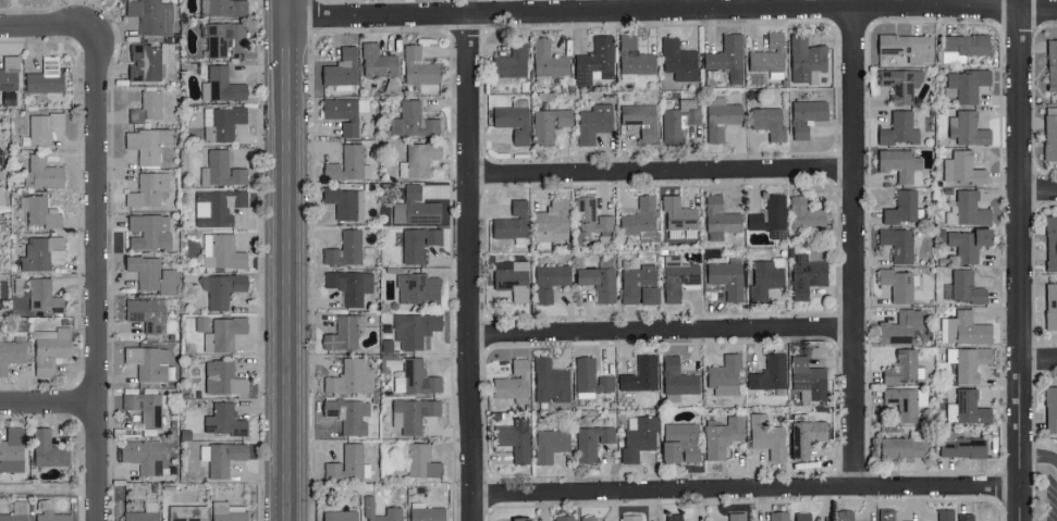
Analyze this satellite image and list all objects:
building: (225, 8)
road: (282, 8)
road: (288, 8)
road: (671, 8)
building: (150, 15)
road: (35, 32)
building: (221, 37)
building: (905, 46)
building: (962, 47)
building: (726, 57)
building: (769, 57)
building: (548, 59)
building: (632, 59)
building: (677, 60)
building: (806, 60)
building: (145, 61)
building: (377, 61)
building: (594, 61)
building: (509, 63)
building: (1050, 64)
building: (418, 66)
building: (341, 67)
building: (8, 72)
building: (44, 76)
building: (541, 79)
building: (899, 84)
building: (964, 84)
building: (220, 85)
building: (146, 106)
building: (344, 112)
building: (680, 116)
building: (804, 116)
building: (720, 117)
building: (413, 120)
building: (513, 120)
building: (641, 120)
building: (222, 121)
building: (593, 122)
building: (767, 122)
building: (549, 123)
building: (898, 128)
building: (966, 128)
building: (37, 129)
building: (1049, 133)
building: (146, 144)
building: (420, 156)
building: (345, 163)
building: (899, 164)
building: (960, 168)
building: (222, 169)
building: (41, 172)
road: (660, 174)
road: (1037, 188)
building: (148, 190)
building: (1, 197)
building: (344, 202)
building: (216, 206)
building: (900, 207)
building: (967, 209)
building: (38, 210)
building: (803, 214)
building: (769, 215)
building: (590, 219)
building: (640, 219)
building: (678, 219)
building: (717, 219)
building: (551, 220)
building: (511, 221)
building: (149, 231)
building: (417, 243)
building: (966, 243)
building: (1050, 243)
building: (896, 244)
road: (852, 247)
building: (347, 249)
building: (40, 251)
building: (222, 251)
road: (1019, 260)
road: (469, 265)
road: (288, 268)
road: (98, 269)
building: (151, 274)
building: (806, 275)
building: (765, 276)
building: (678, 277)
building: (726, 278)
building: (511, 280)
building: (574, 281)
building: (897, 284)
building: (349, 285)
building: (638, 285)
building: (416, 287)
building: (966, 287)
building: (221, 288)
building: (42, 296)
building: (1049, 305)
building: (145, 313)
building: (200, 323)
building: (898, 327)
building: (414, 328)
building: (962, 328)
building: (343, 332)
building: (222, 334)
road: (661, 334)
building: (49, 349)
building: (11, 351)
road: (1037, 357)
building: (967, 361)
building: (149, 362)
building: (904, 367)
building: (769, 373)
building: (640, 374)
building: (723, 375)
building: (351, 376)
building: (221, 377)
building: (415, 377)
building: (590, 379)
building: (807, 379)
building: (549, 382)
building: (513, 383)
building: (905, 402)
road: (49, 405)
building: (145, 406)
building: (966, 408)
building: (1049, 408)
building: (411, 413)
building: (349, 414)
building: (222, 420)
building: (721, 435)
building: (766, 435)
building: (638, 436)
building: (803, 436)
building: (513, 441)
building: (591, 442)
building: (678, 443)
building: (550, 444)
building: (960, 445)
building: (900, 448)
building: (11, 449)
building: (46, 449)
building: (142, 455)
road: (1038, 455)
building: (219, 457)
building: (419, 460)
building: (347, 463)
road: (49, 491)
road: (746, 491)
building: (392, 510)
building: (15, 511)
building: (225, 511)
building: (48, 512)
building: (142, 512)
building: (185, 512)
building: (426, 513)
building: (844, 514)
building: (885, 514)
building: (944, 514)
building: (336, 516)
building: (777, 516)
building: (801, 516)
building: (629, 517)
building: (673, 517)
building: (735, 517)
building: (964, 517)
building: (563, 518)
building: (588, 518)
building: (517, 519)

